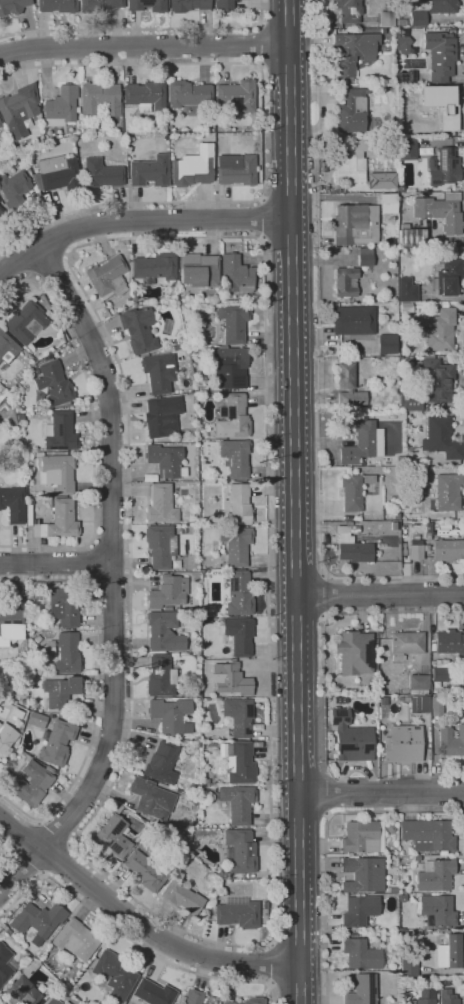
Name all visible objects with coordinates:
building: (189, 4)
building: (224, 4)
building: (98, 5)
building: (147, 5)
building: (13, 6)
building: (57, 6)
building: (443, 6)
building: (349, 10)
building: (418, 18)
building: (387, 19)
road: (315, 20)
building: (401, 22)
road: (141, 29)
building: (403, 43)
road: (261, 45)
road: (144, 46)
building: (353, 51)
building: (440, 55)
building: (408, 76)
building: (188, 94)
building: (237, 95)
building: (146, 96)
building: (99, 101)
building: (440, 103)
building: (61, 106)
building: (19, 109)
building: (352, 111)
building: (0, 124)
building: (1, 134)
building: (165, 136)
building: (205, 139)
road: (264, 140)
building: (407, 149)
building: (352, 159)
building: (443, 167)
building: (193, 169)
building: (149, 171)
building: (238, 172)
building: (56, 174)
building: (101, 174)
building: (380, 180)
building: (14, 189)
road: (317, 190)
building: (409, 190)
road: (332, 197)
road: (463, 200)
building: (387, 203)
building: (439, 213)
building: (3, 216)
road: (261, 219)
road: (139, 220)
building: (355, 224)
road: (71, 231)
building: (411, 236)
road: (453, 240)
building: (365, 256)
road: (20, 259)
road: (48, 264)
building: (153, 268)
building: (198, 270)
building: (237, 274)
building: (107, 277)
building: (448, 277)
building: (346, 281)
building: (407, 290)
building: (405, 307)
road: (460, 318)
building: (353, 321)
building: (233, 322)
building: (27, 323)
building: (138, 329)
building: (439, 330)
building: (387, 344)
building: (7, 348)
building: (175, 348)
building: (229, 366)
building: (158, 373)
building: (436, 380)
building: (54, 383)
building: (348, 387)
building: (202, 388)
building: (411, 400)
building: (162, 416)
building: (20, 417)
building: (232, 418)
road: (94, 426)
building: (60, 432)
building: (441, 438)
building: (362, 443)
building: (235, 458)
building: (400, 459)
building: (412, 459)
building: (165, 461)
building: (57, 473)
building: (368, 479)
road: (294, 485)
building: (448, 492)
building: (351, 493)
building: (47, 494)
building: (394, 499)
building: (13, 504)
building: (161, 504)
building: (238, 506)
building: (28, 511)
building: (396, 515)
building: (58, 521)
building: (394, 526)
road: (111, 542)
building: (160, 545)
building: (235, 545)
building: (352, 545)
building: (416, 549)
building: (448, 550)
road: (56, 564)
road: (339, 576)
road: (111, 579)
road: (113, 579)
building: (167, 592)
road: (380, 593)
building: (239, 594)
road: (325, 594)
building: (64, 606)
road: (354, 614)
building: (12, 624)
building: (163, 632)
building: (239, 635)
building: (37, 639)
building: (406, 644)
building: (450, 644)
building: (48, 647)
building: (354, 652)
building: (67, 653)
building: (440, 674)
building: (160, 677)
building: (231, 679)
building: (418, 684)
road: (96, 688)
building: (60, 691)
building: (340, 700)
building: (383, 700)
building: (418, 704)
building: (435, 705)
building: (16, 713)
building: (170, 715)
building: (239, 716)
building: (36, 720)
building: (6, 738)
building: (351, 738)
building: (450, 742)
building: (57, 743)
building: (403, 744)
building: (162, 763)
building: (239, 763)
building: (179, 766)
building: (49, 769)
building: (32, 784)
building: (211, 793)
road: (381, 794)
building: (151, 798)
building: (109, 802)
building: (237, 803)
building: (116, 808)
building: (390, 828)
road: (55, 832)
road: (24, 835)
building: (428, 836)
building: (110, 837)
building: (360, 837)
road: (326, 841)
road: (5, 851)
building: (241, 852)
park: (6, 855)
road: (57, 860)
road: (27, 863)
building: (146, 871)
building: (362, 874)
building: (434, 875)
building: (393, 890)
building: (181, 896)
building: (207, 900)
building: (359, 910)
building: (437, 910)
building: (239, 912)
road: (272, 915)
building: (38, 919)
road: (136, 923)
road: (130, 939)
building: (75, 940)
building: (451, 952)
building: (360, 955)
building: (5, 964)
road: (270, 964)
building: (409, 966)
building: (114, 974)
building: (22, 986)
road: (300, 988)
building: (49, 989)
building: (361, 990)
building: (153, 993)
building: (425, 996)
building: (191, 997)
building: (447, 997)
building: (254, 1000)
building: (52, 1001)
building: (62, 1003)
building: (65, 1003)
building: (229, 1003)

